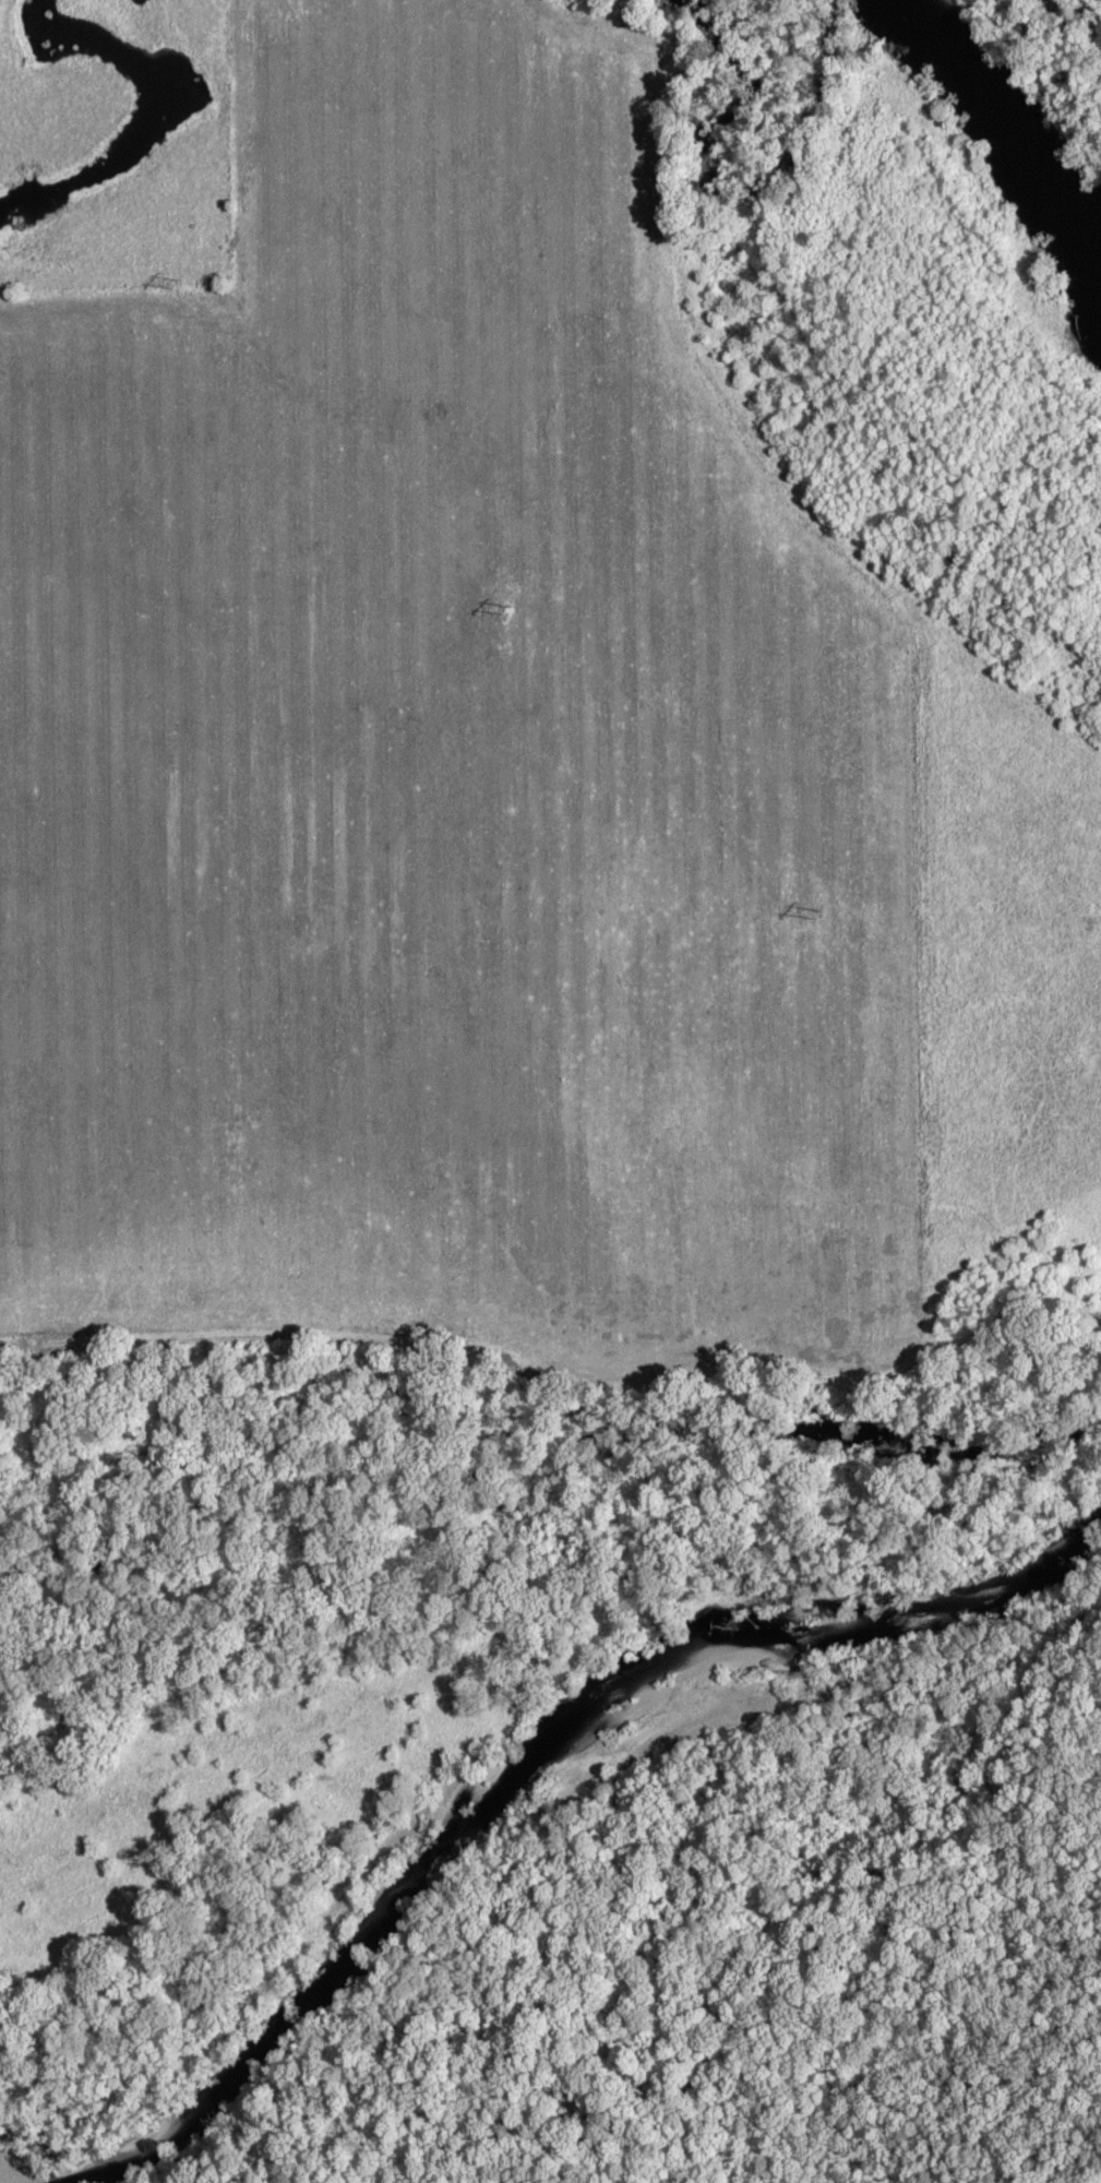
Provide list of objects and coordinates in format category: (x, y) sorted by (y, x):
river: (1015, 155)
power tower: (170, 277)
power tower: (496, 604)
power tower: (814, 916)

